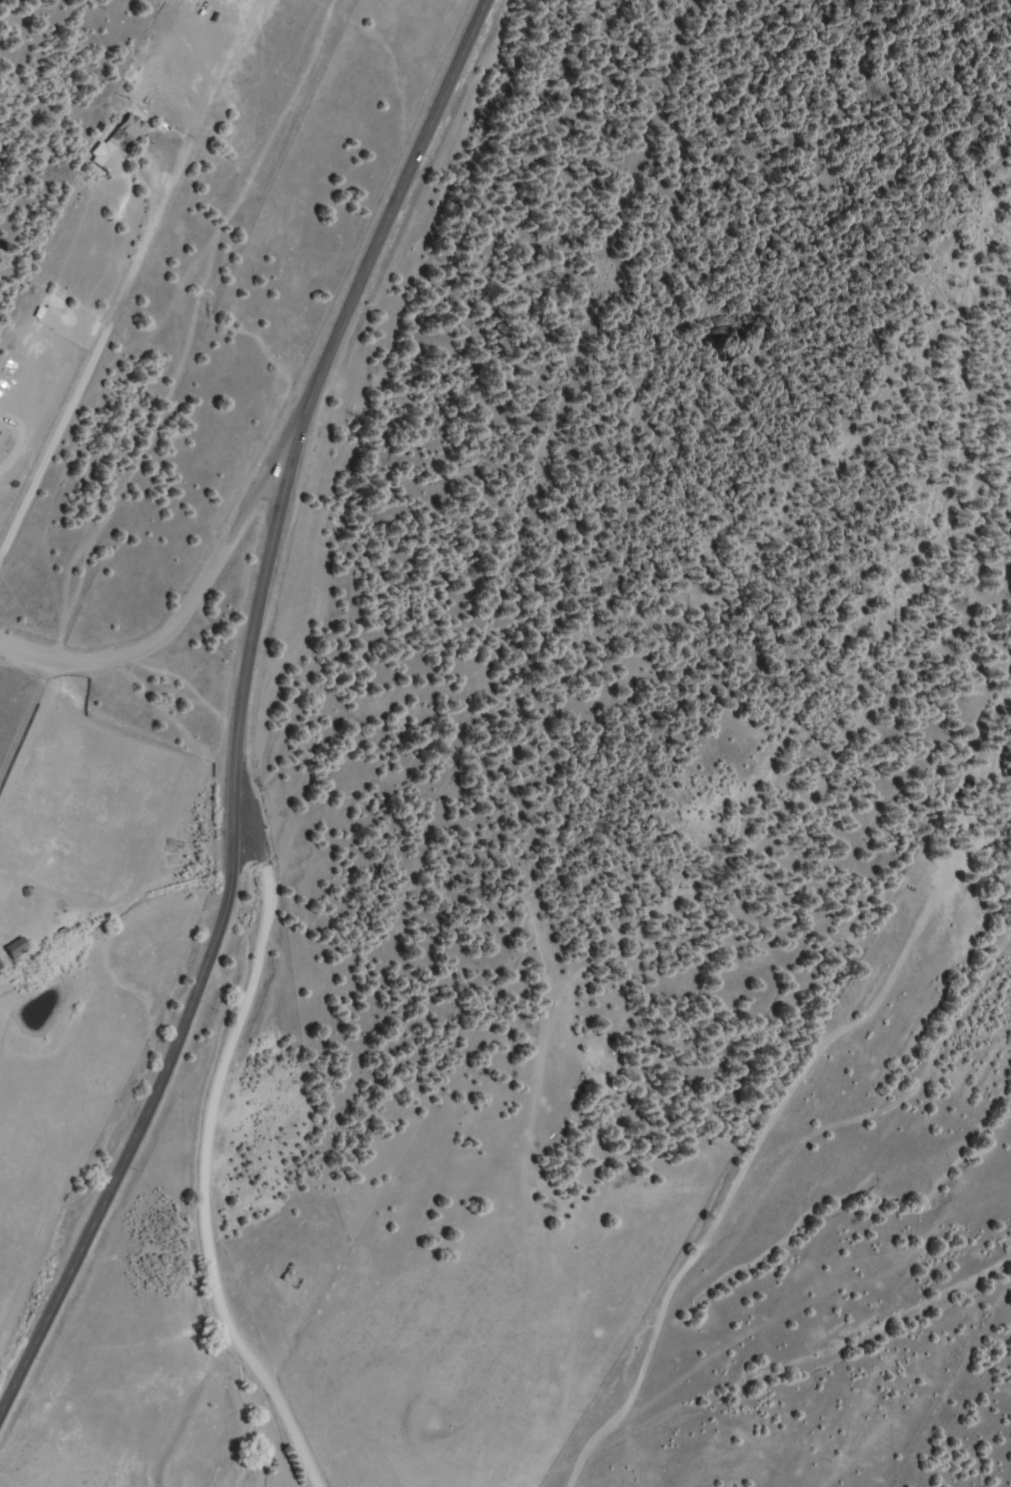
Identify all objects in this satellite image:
building: (207, 0)
building: (113, 145)
road: (158, 561)
road: (9, 625)
road: (239, 706)
road: (37, 725)
building: (12, 949)
road: (245, 1138)

